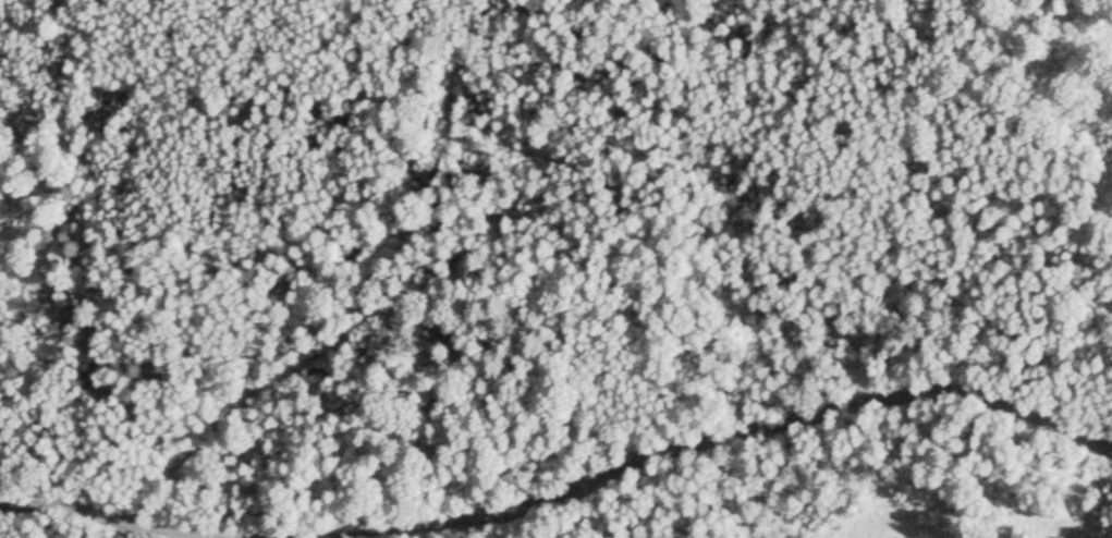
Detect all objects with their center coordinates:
park: (555, 269)
road: (564, 486)

